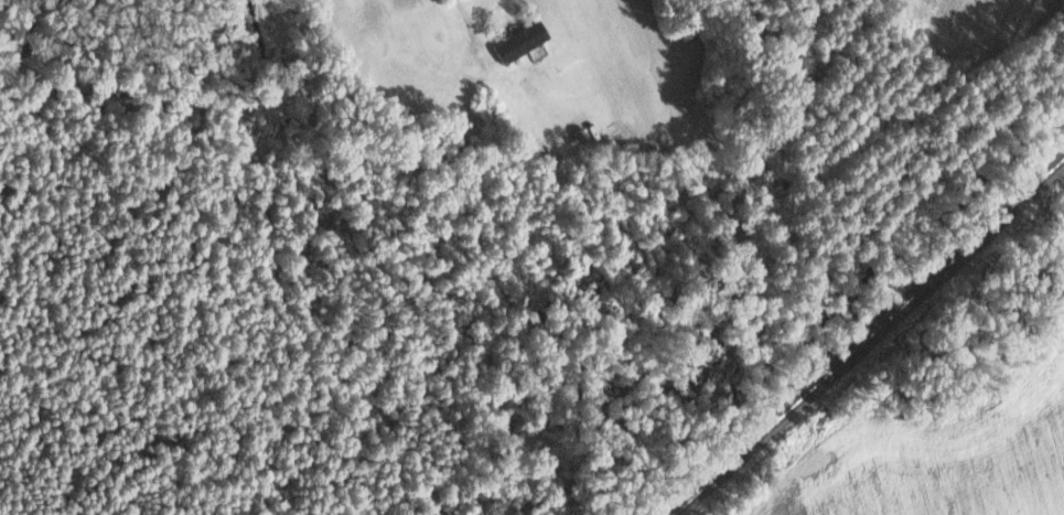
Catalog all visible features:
road: (464, 13)
building: (524, 41)
building: (495, 62)
railway: (869, 336)

